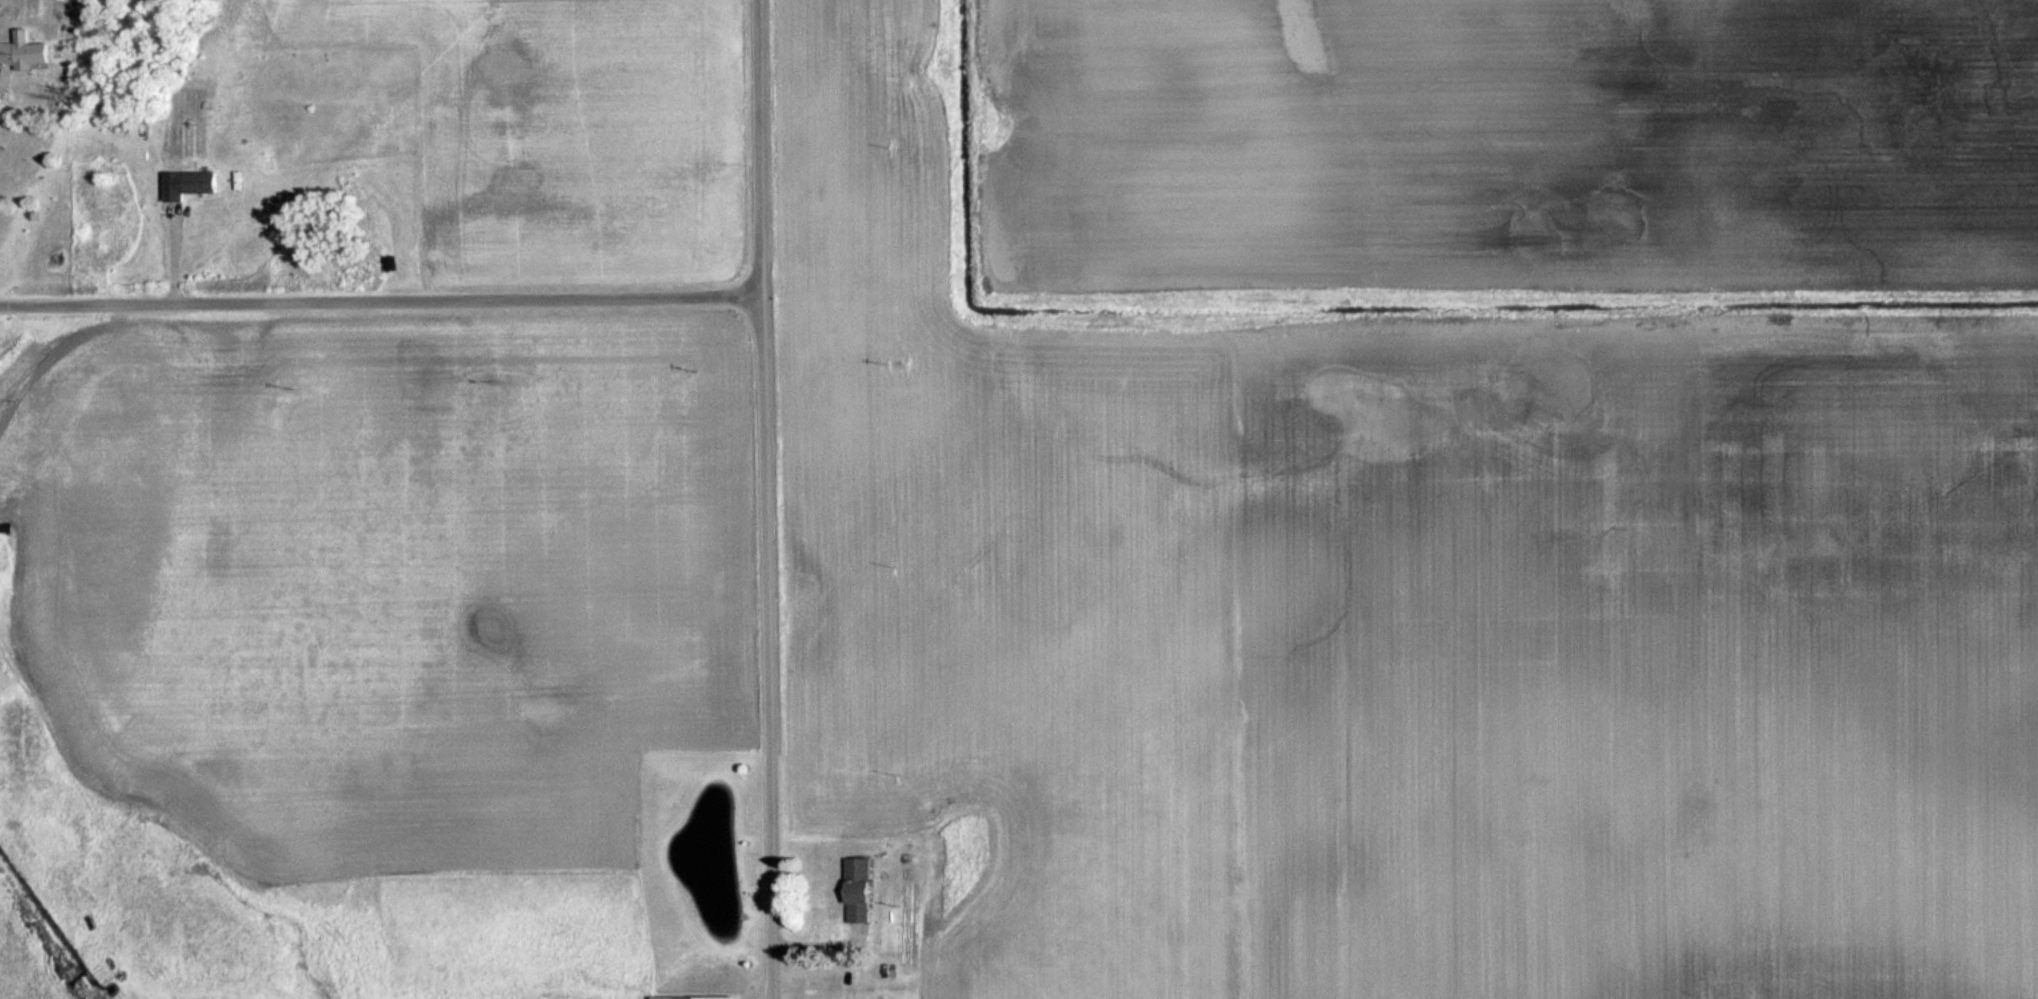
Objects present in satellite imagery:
building: (24, 52)
building: (197, 182)
road: (385, 308)
road: (773, 499)
building: (859, 890)

